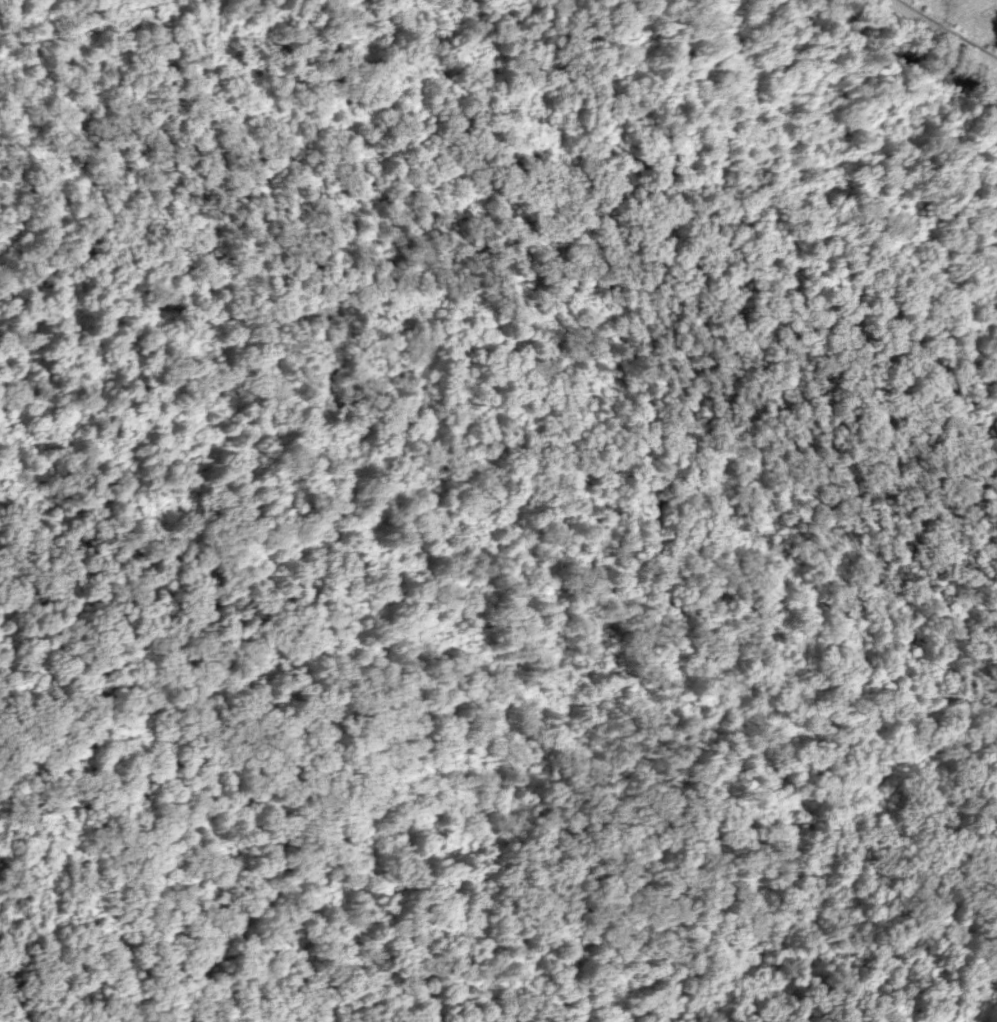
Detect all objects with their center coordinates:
road: (945, 31)

